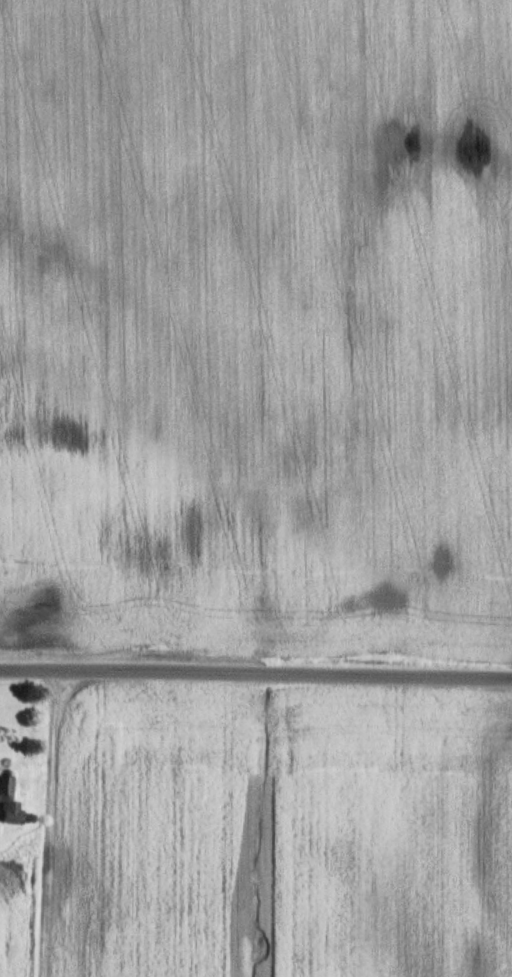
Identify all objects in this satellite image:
road: (256, 676)
building: (11, 801)

